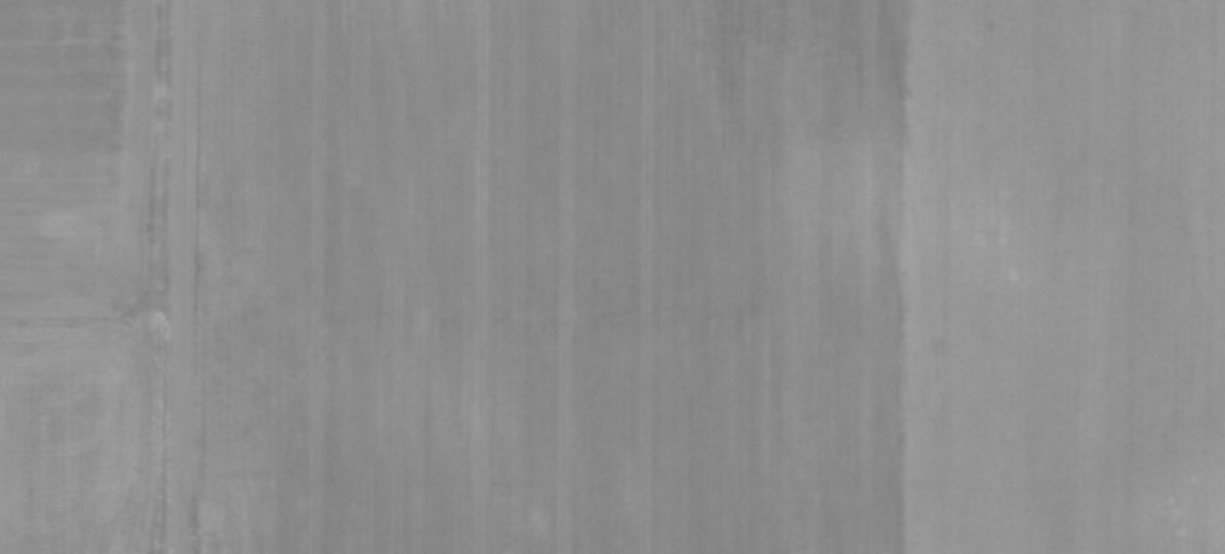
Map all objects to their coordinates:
crop: (74, 276)
road: (181, 277)
crop: (711, 277)

